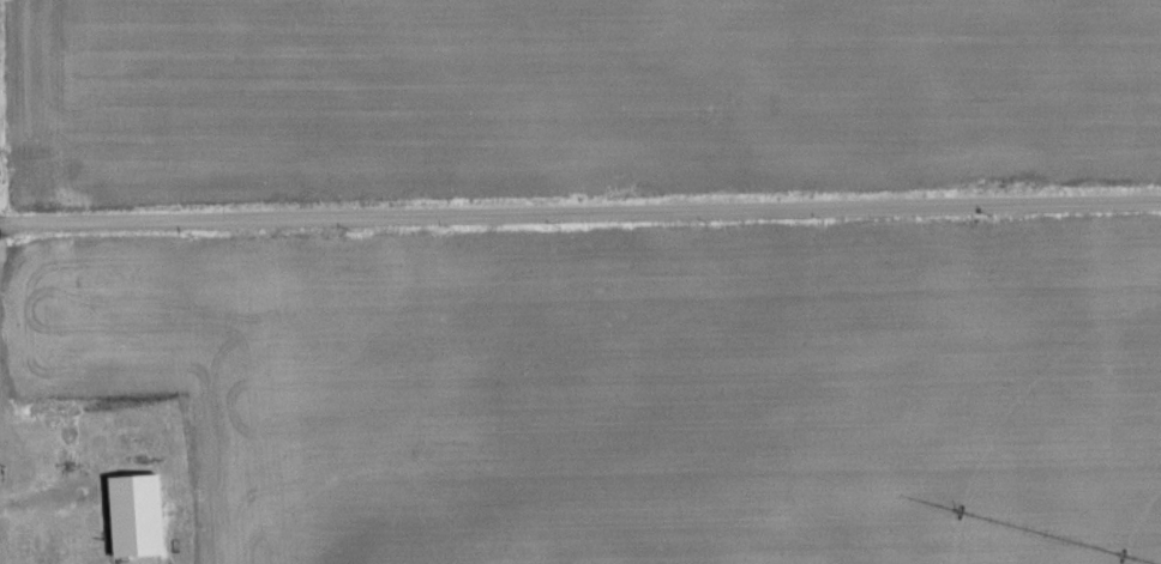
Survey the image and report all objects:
road: (580, 214)
building: (134, 515)

